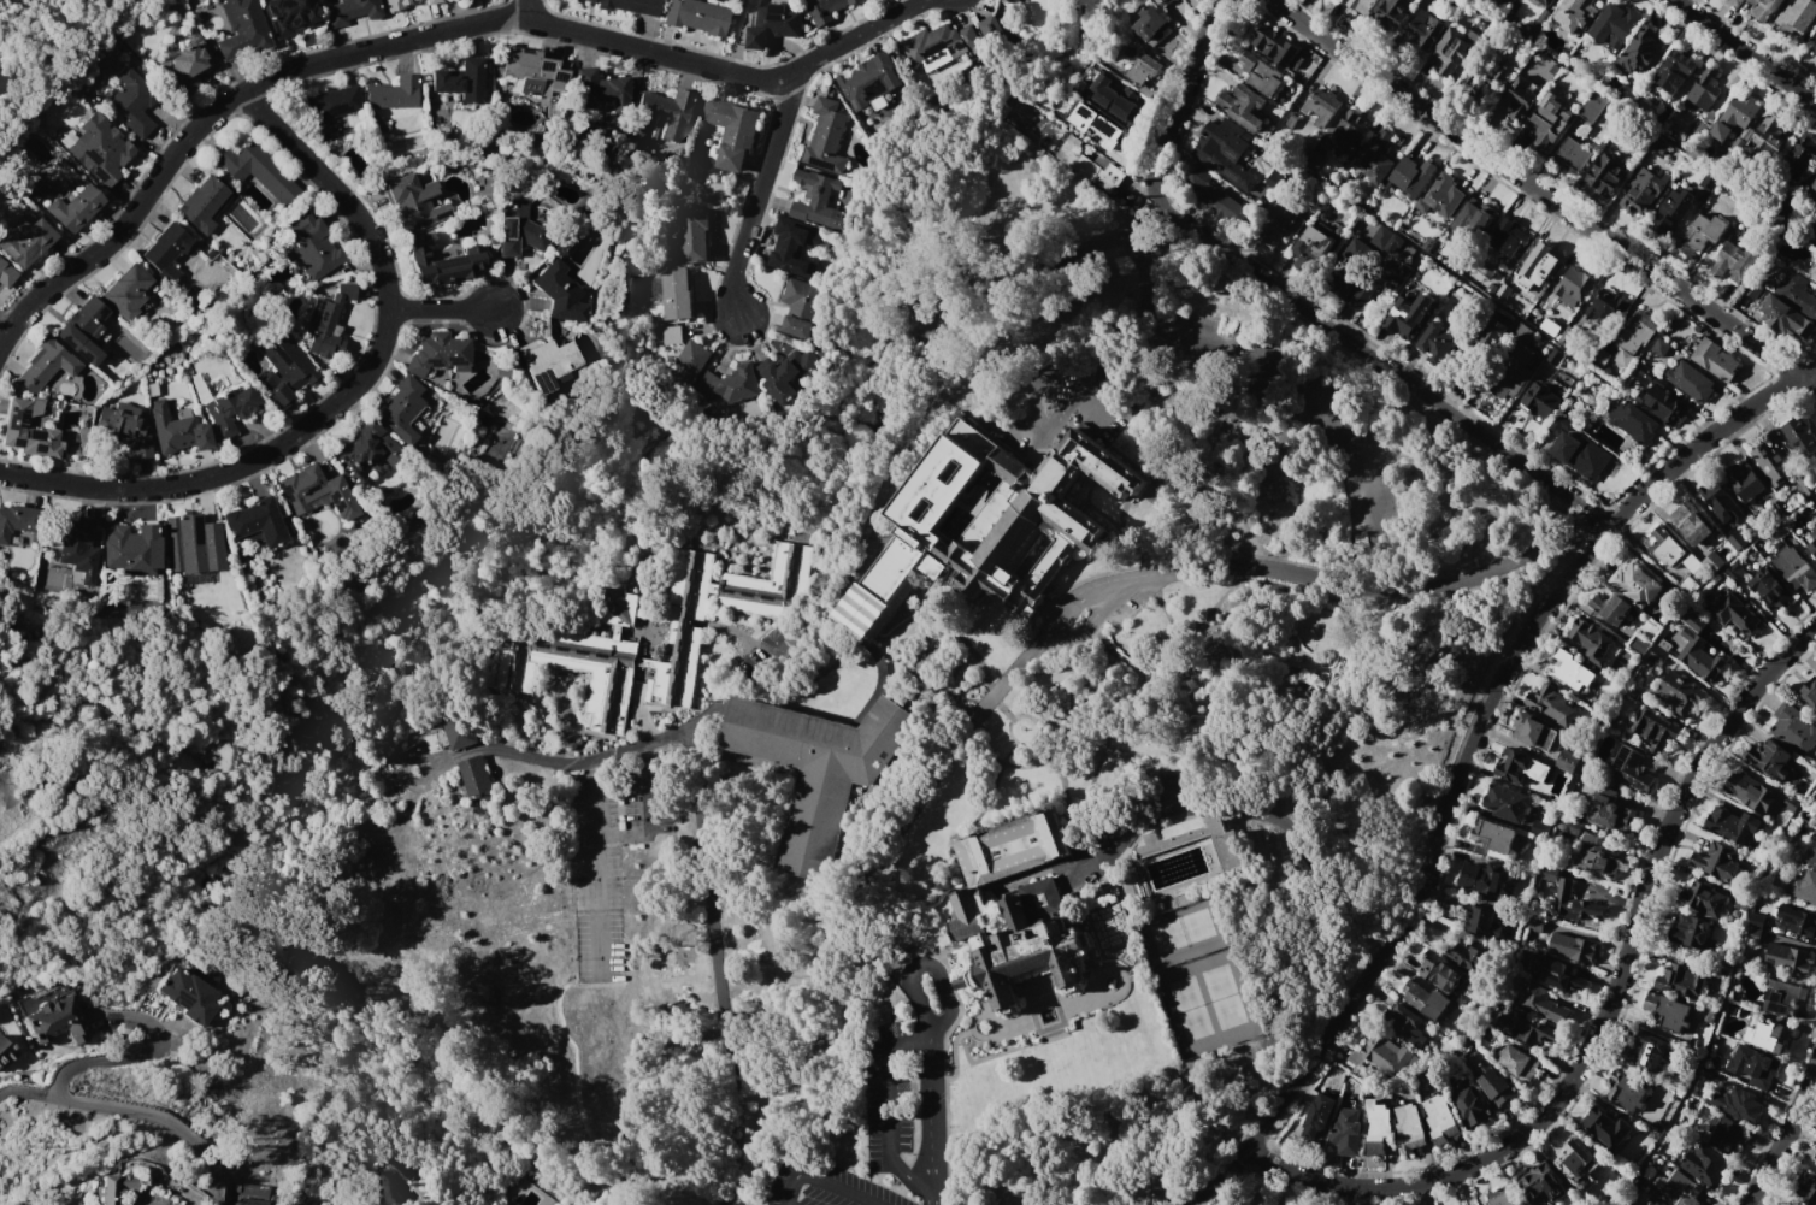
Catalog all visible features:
building: (1006, 0)
building: (431, 1)
building: (1016, 1)
building: (1158, 1)
building: (1505, 1)
building: (1547, 1)
building: (397, 4)
building: (1363, 4)
building: (626, 5)
building: (1764, 7)
building: (825, 8)
road: (529, 10)
building: (349, 11)
building: (1392, 12)
building: (1575, 14)
building: (290, 16)
building: (695, 16)
building: (1797, 17)
building: (770, 22)
building: (1151, 24)
building: (1538, 24)
building: (1614, 25)
building: (989, 28)
building: (1426, 29)
building: (241, 30)
road: (415, 37)
building: (941, 42)
building: (1812, 43)
building: (1275, 48)
building: (1454, 48)
building: (1640, 49)
road: (1744, 51)
building: (185, 67)
building: (1143, 67)
building: (1494, 70)
building: (1674, 70)
building: (533, 72)
building: (1260, 73)
road: (1189, 75)
building: (460, 78)
building: (869, 79)
building: (1704, 88)
building: (596, 89)
building: (1081, 89)
building: (393, 93)
building: (1112, 96)
building: (1519, 98)
building: (132, 101)
building: (1321, 105)
building: (1243, 106)
building: (1592, 106)
building: (330, 110)
building: (1735, 116)
building: (660, 117)
building: (1667, 118)
building: (1291, 119)
building: (1549, 120)
building: (1096, 124)
building: (1350, 126)
building: (731, 130)
building: (826, 136)
building: (1768, 137)
building: (1658, 144)
building: (99, 148)
building: (1226, 150)
building: (1572, 155)
building: (1375, 158)
building: (1799, 158)
building: (258, 171)
building: (1101, 171)
building: (1411, 175)
building: (1605, 175)
road: (757, 188)
road: (1540, 188)
building: (1643, 190)
building: (1811, 193)
building: (1214, 196)
building: (1441, 196)
building: (818, 200)
building: (413, 201)
building: (201, 202)
building: (72, 207)
building: (1670, 212)
road: (1158, 217)
building: (1472, 219)
building: (1280, 224)
building: (1811, 228)
building: (517, 229)
building: (1699, 234)
building: (694, 235)
building: (1508, 237)
building: (1386, 238)
building: (24, 241)
building: (1314, 243)
building: (309, 247)
building: (791, 247)
building: (165, 252)
building: (1543, 260)
building: (1732, 261)
building: (446, 262)
building: (1350, 267)
building: (1814, 272)
building: (6, 274)
road: (1028, 277)
building: (1380, 280)
building: (1574, 284)
building: (672, 289)
building: (125, 293)
building: (561, 293)
building: (1797, 294)
building: (1522, 302)
building: (801, 307)
building: (1605, 308)
road: (441, 311)
building: (1407, 317)
building: (86, 318)
building: (1786, 318)
building: (325, 319)
building: (1521, 331)
building: (1488, 332)
building: (671, 335)
building: (1634, 336)
building: (1435, 341)
building: (77, 345)
building: (1659, 347)
building: (438, 356)
road: (1375, 356)
building: (1599, 356)
building: (1715, 359)
building: (691, 360)
building: (549, 362)
building: (45, 365)
road: (1267, 366)
building: (282, 367)
road: (1042, 370)
building: (1511, 372)
building: (1645, 374)
building: (788, 376)
building: (1690, 380)
building: (730, 383)
road: (344, 395)
building: (1539, 401)
road: (1080, 403)
building: (1662, 403)
road: (1097, 406)
building: (229, 408)
building: (400, 408)
building: (1633, 421)
building: (124, 427)
building: (26, 429)
building: (177, 431)
building: (1799, 436)
road: (1709, 444)
building: (364, 450)
building: (1578, 456)
building: (1771, 462)
building: (1815, 471)
building: (1743, 482)
building: (1803, 489)
building: (317, 491)
building: (1720, 501)
building: (1779, 507)
building: (1690, 522)
building: (255, 524)
building: (986, 524)
building: (16, 526)
building: (1781, 528)
building: (1815, 530)
building: (1737, 539)
building: (193, 544)
building: (75, 545)
building: (1814, 545)
building: (132, 549)
building: (1679, 551)
building: (1815, 554)
building: (1794, 568)
building: (1735, 571)
building: (1638, 584)
building: (771, 585)
building: (1769, 589)
road: (1373, 590)
road: (1079, 601)
building: (615, 606)
building: (1616, 609)
building: (1735, 614)
road: (1095, 619)
building: (1692, 620)
building: (683, 630)
building: (1591, 640)
building: (1638, 644)
building: (1657, 652)
building: (1699, 655)
road: (768, 660)
building: (572, 667)
building: (1569, 669)
building: (1681, 692)
building: (1809, 692)
building: (1551, 703)
building: (460, 728)
building: (1652, 728)
building: (1793, 728)
building: (1534, 732)
road: (645, 752)
road: (447, 760)
building: (1567, 760)
building: (1771, 760)
road: (591, 764)
building: (1513, 764)
building: (1632, 768)
building: (814, 770)
building: (473, 775)
building: (1750, 791)
park: (111, 792)
building: (1507, 803)
road: (39, 809)
building: (1609, 811)
road: (648, 823)
building: (1732, 825)
building: (1567, 826)
building: (1539, 828)
building: (1181, 833)
building: (1494, 838)
building: (1013, 847)
building: (1811, 856)
building: (1596, 857)
building: (1716, 861)
road: (594, 873)
building: (1547, 874)
building: (1481, 878)
road: (1417, 884)
building: (1803, 886)
building: (1043, 896)
building: (1709, 900)
building: (1574, 903)
building: (969, 921)
building: (1799, 921)
building: (1482, 922)
building: (1534, 923)
building: (1753, 927)
building: (1688, 929)
building: (1572, 946)
building: (1027, 956)
building: (1472, 957)
building: (1785, 957)
road: (715, 963)
building: (1439, 970)
building: (1557, 974)
building: (1681, 980)
road: (949, 994)
building: (185, 996)
road: (918, 996)
building: (1783, 997)
building: (1427, 1003)
building: (1544, 1004)
building: (1667, 1010)
building: (55, 1020)
road: (1611, 1023)
building: (1405, 1024)
building: (1525, 1027)
building: (1767, 1035)
building: (1646, 1050)
building: (6, 1056)
building: (1392, 1058)
building: (1519, 1062)
building: (1752, 1065)
building: (1709, 1074)
road: (886, 1081)
building: (1496, 1087)
building: (1628, 1089)
road: (26, 1093)
road: (58, 1100)
building: (1737, 1103)
building: (1469, 1107)
road: (934, 1114)
building: (1317, 1115)
building: (1439, 1120)
building: (1376, 1127)
building: (1409, 1128)
building: (1609, 1128)
road: (1781, 1130)
building: (1346, 1132)
building: (1727, 1135)
building: (1572, 1156)
building: (1815, 1156)
building: (1704, 1164)
building: (402, 1169)
road: (909, 1176)
road: (824, 1181)
park: (7, 1183)
building: (1543, 1185)
building: (111, 1188)
building: (1806, 1188)
building: (1680, 1189)
road: (933, 1197)
building: (1500, 1197)
road: (1756, 1200)
building: (1233, 1203)
building: (1657, 1203)
building: (238, 1204)
building: (294, 1204)
building: (1281, 1204)
building: (1522, 1204)
building: (1643, 1204)

